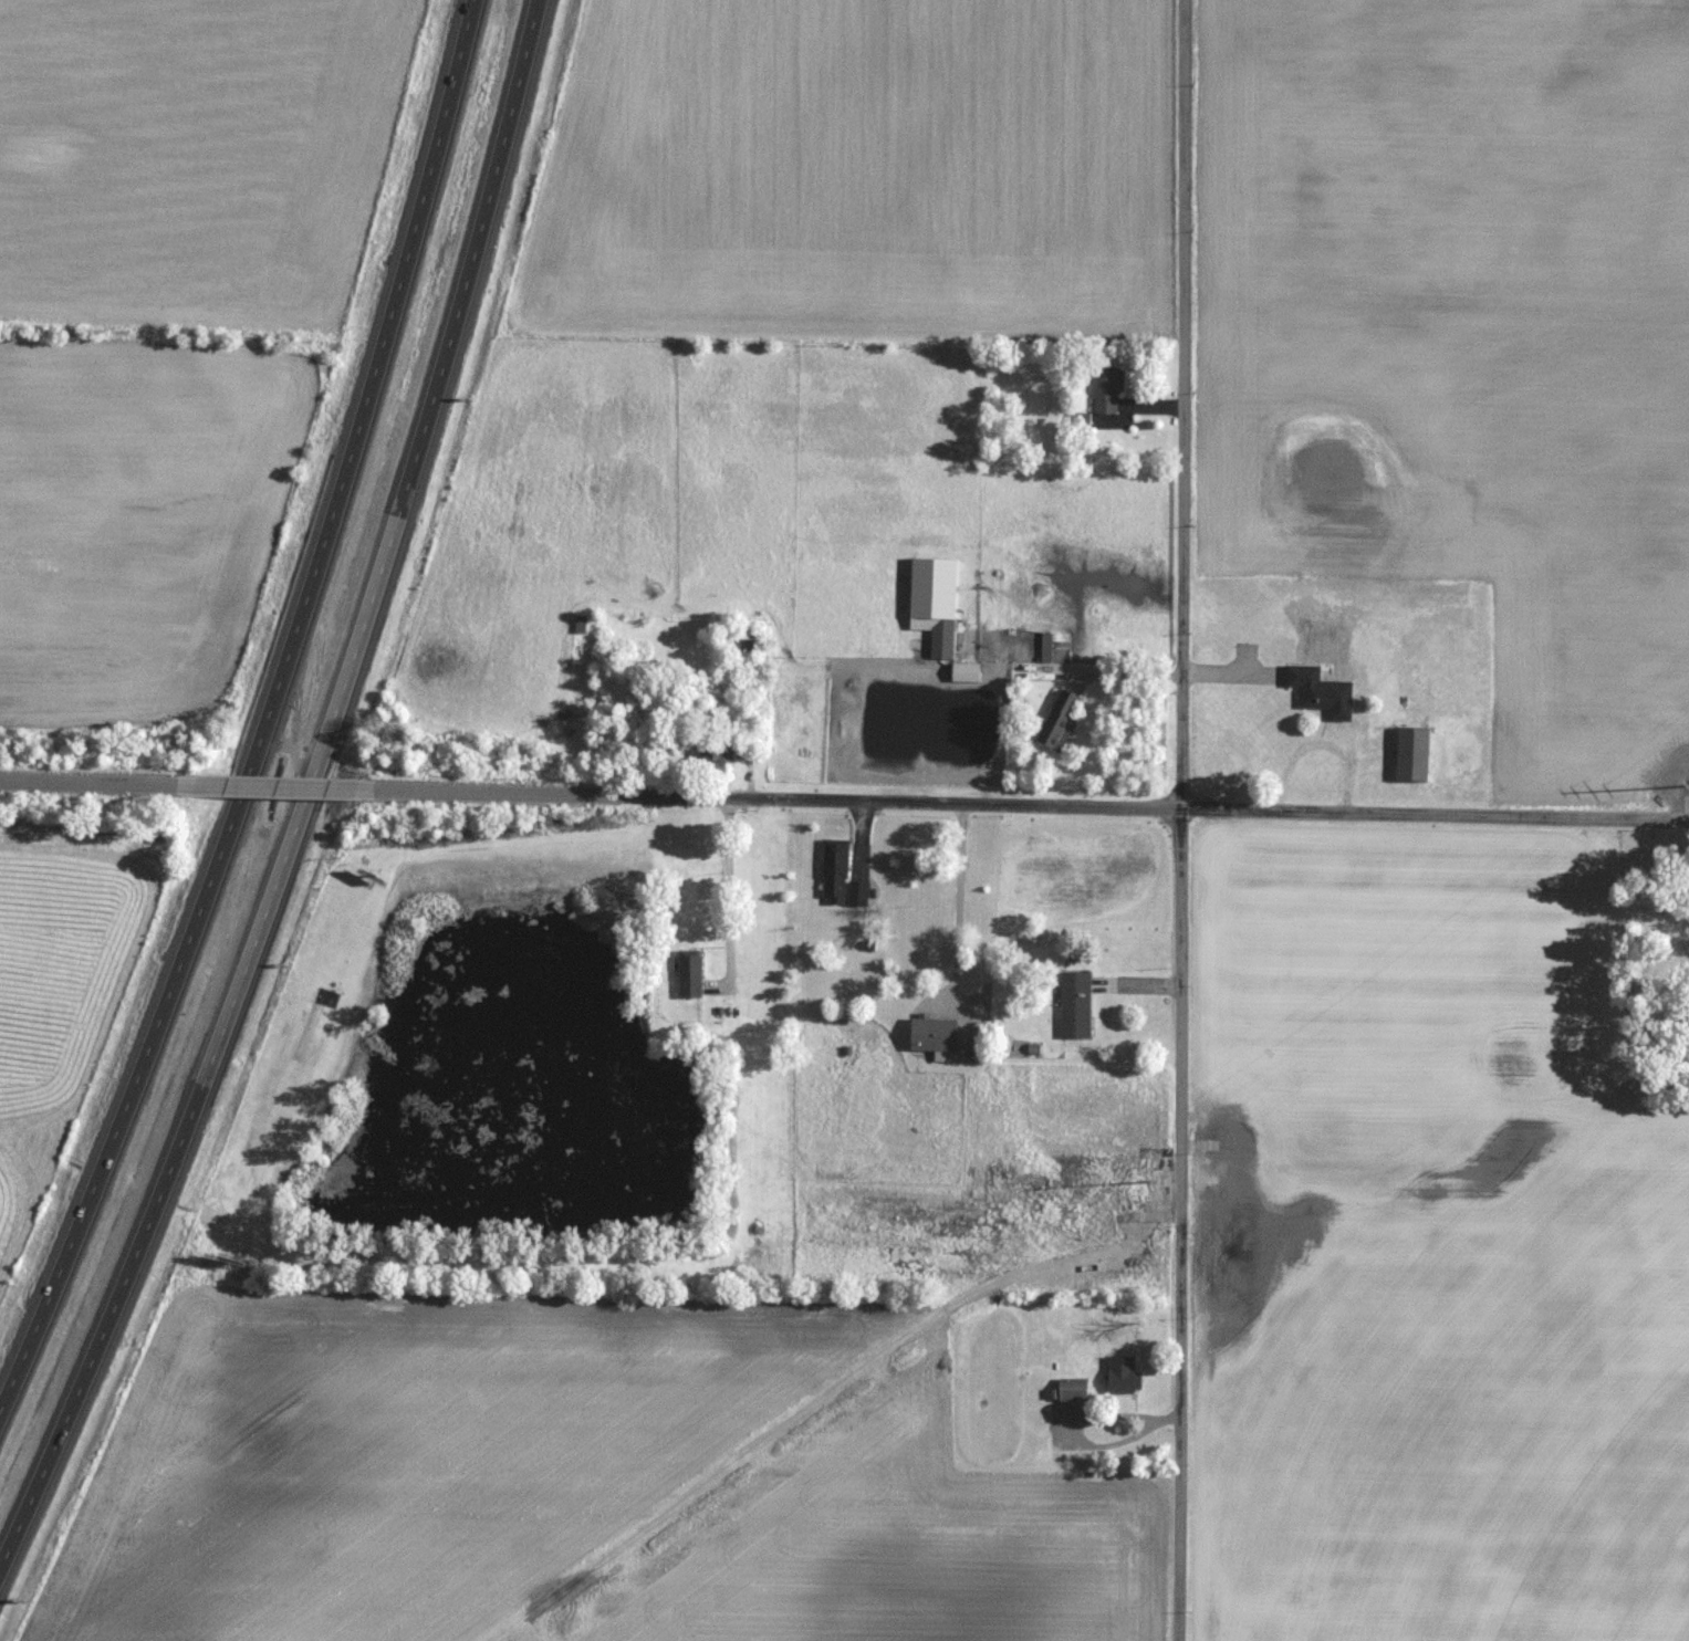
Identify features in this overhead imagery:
building: (1109, 389)
building: (943, 637)
building: (746, 646)
building: (968, 671)
building: (1320, 692)
road: (259, 711)
building: (1061, 720)
building: (1410, 755)
building: (712, 759)
road: (104, 782)
road: (283, 785)
road: (306, 794)
road: (1023, 805)
road: (1182, 819)
building: (842, 875)
road: (727, 887)
road: (955, 901)
building: (691, 976)
building: (1076, 1004)
building: (936, 1034)
power tower: (1140, 1188)
building: (1125, 1377)
building: (1073, 1390)
road: (1077, 1421)

